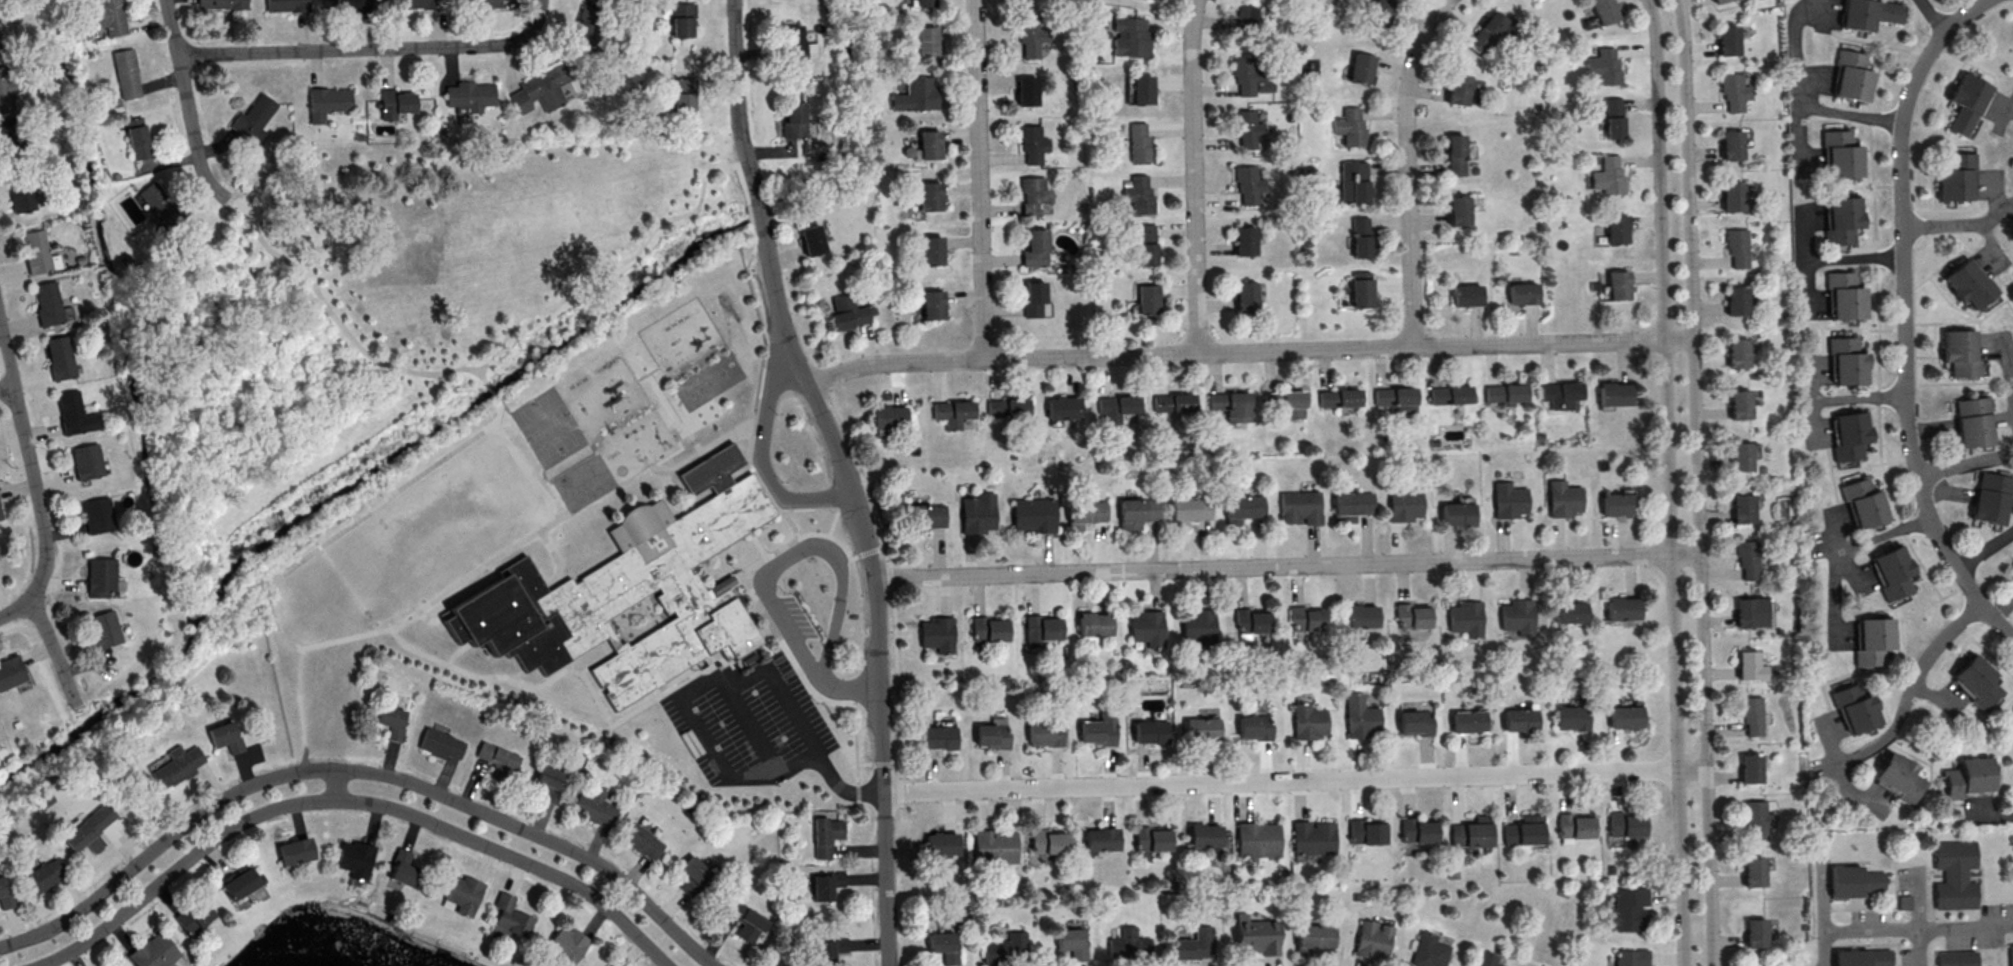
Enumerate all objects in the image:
building: (1717, 1)
building: (917, 2)
building: (481, 3)
building: (419, 4)
building: (222, 5)
building: (285, 6)
building: (351, 6)
building: (1602, 11)
building: (1869, 13)
building: (1242, 15)
road: (1932, 16)
building: (112, 18)
building: (682, 18)
building: (586, 25)
building: (1486, 29)
building: (1029, 35)
building: (1128, 39)
building: (793, 40)
building: (924, 40)
building: (1725, 40)
road: (370, 48)
building: (1603, 65)
building: (1360, 67)
building: (126, 74)
building: (1244, 76)
building: (1852, 76)
building: (1457, 89)
building: (8, 90)
building: (541, 91)
building: (1025, 91)
building: (1731, 91)
building: (684, 93)
building: (915, 94)
building: (468, 98)
road: (738, 102)
building: (1966, 102)
road: (186, 103)
building: (326, 104)
building: (394, 106)
building: (1611, 106)
road: (2001, 106)
road: (1816, 108)
building: (254, 119)
building: (794, 119)
building: (1350, 125)
building: (1613, 127)
building: (1244, 128)
building: (10, 139)
building: (137, 139)
building: (1031, 143)
building: (1137, 143)
building: (1730, 143)
building: (927, 144)
road: (721, 149)
building: (1455, 154)
building: (1843, 160)
road: (1405, 168)
building: (1607, 174)
road: (1190, 175)
building: (1956, 177)
road: (976, 179)
building: (1246, 184)
building: (1356, 189)
building: (19, 192)
building: (1032, 194)
building: (1730, 195)
building: (927, 196)
building: (1139, 196)
park: (581, 202)
building: (160, 206)
building: (131, 208)
building: (1457, 209)
road: (760, 217)
building: (1842, 219)
road: (751, 220)
road: (1945, 225)
building: (1615, 228)
building: (811, 239)
building: (1243, 241)
building: (1360, 244)
building: (1735, 247)
building: (1034, 248)
building: (930, 250)
building: (36, 251)
building: (1146, 253)
road: (628, 259)
road: (1825, 260)
building: (1969, 282)
building: (1617, 284)
building: (1360, 289)
building: (1519, 293)
building: (1465, 295)
building: (1845, 295)
building: (1245, 296)
building: (1033, 298)
building: (1146, 299)
building: (1734, 301)
building: (47, 304)
building: (931, 305)
building: (846, 311)
road: (1901, 316)
road: (339, 322)
park: (376, 322)
road: (1248, 350)
building: (1735, 353)
building: (1960, 353)
building: (59, 357)
building: (1847, 360)
road: (700, 363)
road: (2008, 364)
road: (647, 371)
building: (1559, 391)
road: (494, 392)
building: (1504, 392)
road: (8, 393)
building: (1448, 394)
building: (1612, 394)
building: (1393, 396)
building: (1338, 398)
building: (1282, 399)
road: (1839, 399)
building: (1227, 401)
building: (1172, 403)
building: (1116, 405)
building: (1737, 405)
building: (1007, 407)
building: (1062, 408)
building: (70, 412)
road: (671, 412)
building: (952, 412)
building: (888, 415)
road: (755, 420)
building: (1972, 421)
park: (549, 429)
building: (1849, 434)
building: (1738, 457)
building: (86, 462)
road: (1967, 463)
road: (660, 466)
road: (527, 472)
road: (32, 477)
road: (1668, 482)
road: (1697, 482)
building: (1991, 498)
building: (1560, 499)
building: (1506, 500)
building: (1864, 502)
building: (1401, 503)
building: (1615, 504)
building: (1298, 506)
building: (1349, 506)
building: (1240, 508)
building: (1741, 509)
building: (1186, 510)
building: (978, 512)
building: (1083, 512)
building: (1136, 512)
building: (1455, 513)
building: (1033, 514)
building: (98, 515)
building: (0, 517)
building: (923, 517)
road: (791, 525)
road: (808, 535)
road: (757, 543)
road: (1847, 548)
road: (1986, 548)
building: (1746, 559)
road: (556, 560)
building: (2012, 563)
road: (497, 564)
road: (1286, 565)
road: (776, 567)
building: (1894, 571)
building: (101, 576)
road: (874, 589)
building: (631, 590)
building: (1619, 608)
building: (1567, 611)
building: (1749, 612)
parking lot: (805, 615)
building: (1358, 616)
building: (1409, 616)
building: (1515, 617)
building: (1304, 619)
building: (1463, 619)
road: (435, 620)
building: (1248, 621)
building: (1093, 624)
road: (893, 625)
road: (274, 626)
building: (1197, 627)
building: (104, 628)
building: (1145, 628)
building: (988, 629)
building: (1040, 629)
building: (936, 633)
building: (1874, 640)
road: (53, 648)
road: (458, 651)
road: (568, 666)
building: (1747, 666)
road: (575, 670)
building: (11, 672)
building: (1978, 673)
road: (517, 674)
road: (550, 676)
road: (725, 679)
road: (600, 692)
road: (656, 692)
road: (677, 693)
road: (815, 694)
building: (1856, 708)
road: (302, 709)
road: (1901, 712)
building: (1750, 715)
building: (1623, 717)
building: (1569, 718)
building: (391, 720)
building: (1359, 720)
building: (1517, 720)
building: (1306, 722)
building: (1466, 722)
parking lot: (752, 723)
building: (1413, 724)
road: (755, 727)
building: (1253, 728)
building: (1098, 729)
building: (2008, 729)
building: (1200, 730)
building: (1148, 731)
building: (1046, 732)
building: (992, 733)
building: (224, 736)
building: (938, 737)
building: (441, 743)
building: (497, 758)
building: (176, 765)
road: (898, 768)
building: (1748, 768)
road: (360, 769)
building: (1898, 776)
building: (1968, 777)
road: (1294, 778)
building: (550, 781)
road: (337, 783)
road: (349, 799)
building: (591, 803)
building: (97, 818)
building: (1755, 819)
building: (1622, 824)
building: (1572, 826)
building: (1416, 831)
building: (1522, 831)
building: (1364, 833)
building: (1470, 833)
building: (826, 834)
building: (1202, 835)
building: (80, 838)
building: (1150, 838)
building: (1311, 838)
building: (1099, 839)
building: (642, 840)
building: (1255, 840)
building: (1047, 841)
building: (940, 843)
building: (995, 844)
building: (296, 851)
building: (355, 858)
building: (403, 868)
building: (1751, 872)
building: (693, 873)
building: (42, 874)
building: (1954, 875)
building: (1852, 881)
building: (240, 883)
building: (827, 885)
building: (464, 893)
building: (5, 894)
building: (1627, 909)
building: (194, 915)
building: (511, 916)
building: (748, 921)
road: (1946, 925)
road: (1832, 929)
building: (1753, 933)
building: (1255, 935)
building: (1310, 938)
building: (1370, 940)
building: (1071, 941)
building: (1126, 942)
building: (567, 944)
building: (1193, 944)
building: (944, 946)
road: (1823, 948)
building: (1007, 949)
building: (830, 950)
building: (154, 951)
building: (1428, 951)
building: (2010, 955)
building: (1956, 956)
building: (1862, 957)
building: (1627, 958)
building: (1484, 959)
building: (614, 964)
building: (114, 965)

